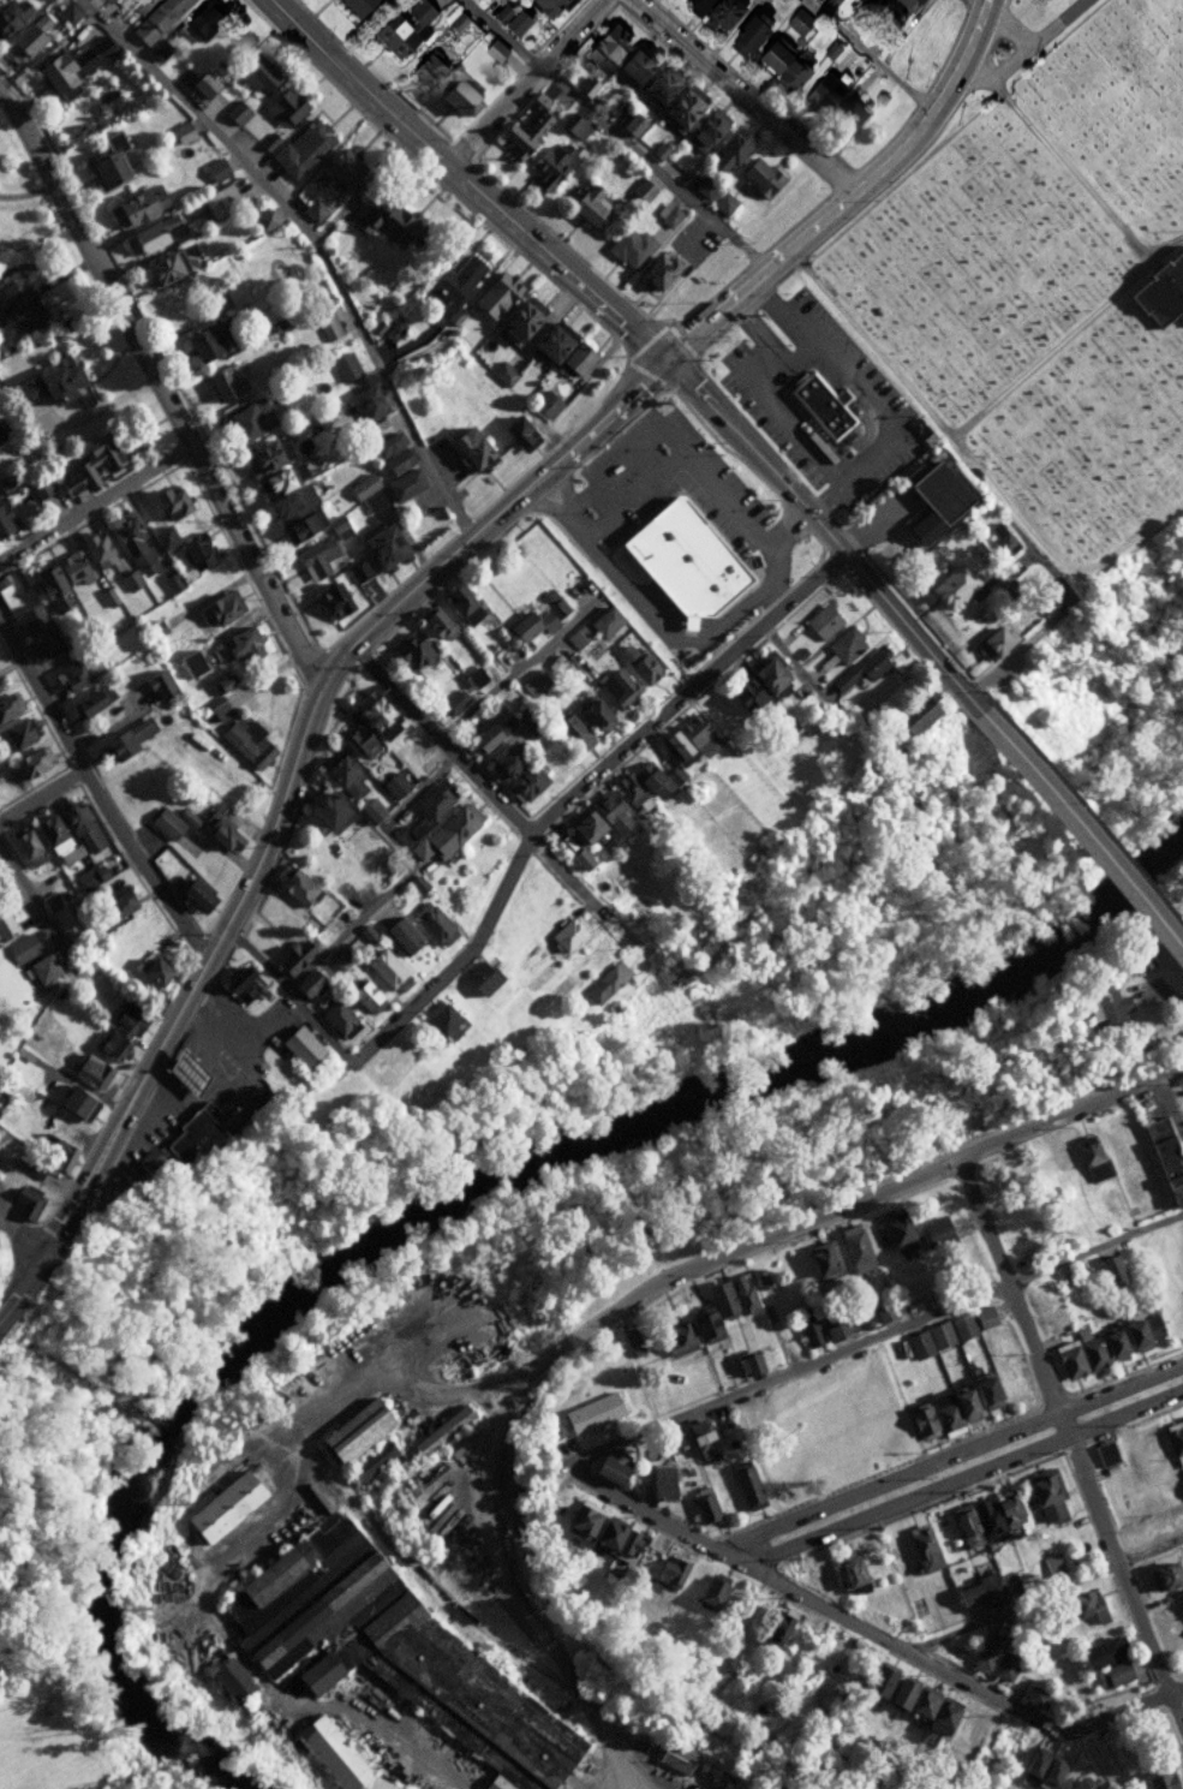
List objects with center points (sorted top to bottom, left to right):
building: (904, 2)
building: (359, 5)
building: (548, 5)
building: (70, 10)
building: (719, 10)
building: (11, 14)
building: (512, 17)
building: (157, 18)
building: (202, 19)
road: (1009, 20)
building: (408, 26)
building: (747, 31)
building: (30, 35)
road: (1034, 38)
building: (605, 46)
building: (784, 60)
building: (72, 64)
building: (429, 67)
building: (632, 67)
building: (259, 74)
road: (524, 79)
building: (203, 84)
building: (661, 84)
building: (824, 89)
building: (456, 96)
road: (752, 97)
building: (681, 108)
building: (285, 109)
building: (235, 112)
building: (849, 113)
building: (573, 126)
building: (527, 129)
building: (706, 130)
building: (183, 133)
road: (617, 137)
building: (303, 147)
building: (729, 150)
building: (108, 161)
building: (548, 167)
building: (341, 168)
building: (215, 169)
road: (1071, 169)
building: (759, 178)
road: (470, 183)
building: (641, 190)
building: (220, 201)
road: (855, 201)
building: (587, 203)
building: (136, 205)
building: (315, 208)
building: (382, 217)
building: (144, 239)
road: (313, 246)
building: (631, 246)
building: (160, 269)
building: (657, 270)
park: (1040, 272)
building: (456, 280)
building: (1161, 291)
building: (495, 296)
building: (20, 304)
building: (325, 323)
building: (518, 323)
building: (393, 330)
building: (207, 341)
road: (1051, 347)
building: (562, 351)
traffic signals: (668, 357)
road: (784, 358)
building: (345, 365)
building: (225, 381)
building: (58, 382)
road: (160, 387)
parking lot: (877, 398)
building: (368, 401)
building: (546, 404)
building: (819, 404)
building: (249, 419)
building: (519, 433)
building: (387, 446)
building: (470, 448)
road: (854, 452)
building: (265, 454)
road: (632, 460)
road: (685, 460)
road: (973, 461)
building: (90, 463)
building: (603, 477)
building: (279, 479)
building: (404, 484)
building: (366, 490)
parking lot: (670, 491)
road: (831, 494)
building: (934, 500)
building: (169, 501)
road: (512, 502)
road: (95, 503)
road: (904, 506)
building: (297, 514)
building: (555, 518)
building: (5, 519)
building: (163, 537)
road: (825, 538)
building: (999, 538)
building: (767, 542)
building: (132, 543)
building: (382, 545)
building: (96, 549)
building: (196, 553)
building: (318, 559)
building: (73, 568)
building: (688, 573)
building: (952, 586)
building: (49, 589)
building: (1045, 591)
building: (331, 600)
building: (460, 604)
building: (556, 608)
building: (216, 610)
building: (820, 621)
building: (435, 622)
building: (524, 627)
road: (1046, 627)
building: (37, 628)
building: (992, 643)
building: (237, 645)
building: (843, 645)
building: (413, 650)
building: (667, 650)
building: (191, 662)
building: (638, 663)
road: (524, 666)
building: (854, 674)
building: (70, 676)
building: (476, 676)
building: (769, 676)
building: (216, 682)
building: (159, 684)
building: (534, 684)
building: (617, 686)
building: (0, 690)
road: (37, 694)
building: (742, 697)
building: (454, 700)
building: (85, 704)
building: (8, 705)
building: (219, 709)
building: (590, 712)
building: (376, 715)
building: (910, 715)
building: (490, 730)
building: (569, 732)
building: (16, 735)
building: (127, 738)
building: (688, 740)
building: (247, 741)
building: (357, 744)
building: (504, 762)
building: (31, 763)
building: (343, 777)
building: (525, 781)
building: (394, 786)
building: (638, 786)
road: (489, 791)
road: (41, 794)
road: (580, 795)
building: (431, 801)
building: (324, 810)
building: (369, 810)
building: (595, 819)
building: (167, 823)
building: (80, 827)
building: (220, 831)
building: (446, 833)
building: (49, 834)
road: (1082, 836)
building: (26, 847)
building: (71, 853)
road: (145, 864)
road: (400, 873)
building: (91, 876)
building: (297, 888)
building: (193, 895)
building: (118, 901)
road: (36, 912)
building: (430, 923)
building: (6, 925)
building: (566, 934)
building: (362, 936)
building: (398, 937)
building: (24, 948)
road: (215, 952)
building: (292, 958)
building: (337, 958)
building: (43, 970)
building: (154, 970)
building: (383, 971)
building: (477, 979)
building: (604, 983)
building: (305, 984)
building: (241, 985)
road: (289, 996)
building: (360, 998)
building: (1107, 1006)
building: (333, 1019)
building: (441, 1022)
building: (120, 1028)
building: (295, 1049)
building: (90, 1071)
building: (184, 1073)
gas station: (184, 1073)
building: (371, 1078)
road: (1176, 1089)
building: (76, 1103)
building: (190, 1135)
building: (5, 1149)
building: (55, 1155)
building: (1166, 1158)
building: (1082, 1161)
building: (144, 1164)
building: (1009, 1182)
river: (464, 1185)
road: (853, 1199)
road: (1, 1216)
building: (936, 1232)
road: (20, 1233)
building: (900, 1233)
building: (855, 1248)
building: (824, 1259)
building: (1112, 1271)
road: (20, 1276)
building: (760, 1278)
building: (731, 1298)
building: (1044, 1305)
building: (884, 1311)
building: (705, 1325)
building: (1142, 1329)
building: (820, 1330)
building: (951, 1330)
building: (676, 1338)
road: (870, 1340)
building: (1112, 1342)
building: (1080, 1355)
building: (747, 1364)
building: (307, 1373)
building: (1008, 1378)
building: (985, 1390)
building: (954, 1408)
building: (591, 1412)
building: (825, 1420)
building: (922, 1420)
building: (356, 1427)
building: (441, 1429)
road: (1075, 1433)
building: (700, 1438)
building: (1176, 1441)
road: (950, 1453)
building: (1105, 1453)
building: (371, 1459)
building: (607, 1469)
road: (966, 1478)
building: (661, 1481)
building: (746, 1484)
building: (1045, 1496)
building: (222, 1504)
building: (703, 1504)
building: (1006, 1507)
building: (1161, 1517)
building: (578, 1519)
building: (987, 1519)
building: (964, 1526)
building: (614, 1537)
building: (921, 1548)
road: (232, 1554)
building: (1053, 1564)
building: (667, 1572)
building: (848, 1572)
building: (817, 1574)
building: (1165, 1575)
road: (518, 1585)
building: (980, 1591)
building: (710, 1592)
road: (1038, 1592)
road: (808, 1602)
building: (1080, 1605)
building: (776, 1623)
building: (389, 1651)
building: (984, 1652)
building: (1106, 1660)
building: (1003, 1666)
building: (228, 1676)
building: (879, 1680)
road: (1178, 1693)
building: (1034, 1696)
building: (933, 1710)
road: (1116, 1716)
building: (676, 1754)
building: (336, 1757)
building: (1041, 1765)
road: (610, 1772)
building: (1157, 1779)
building: (742, 1783)
building: (1076, 1784)

